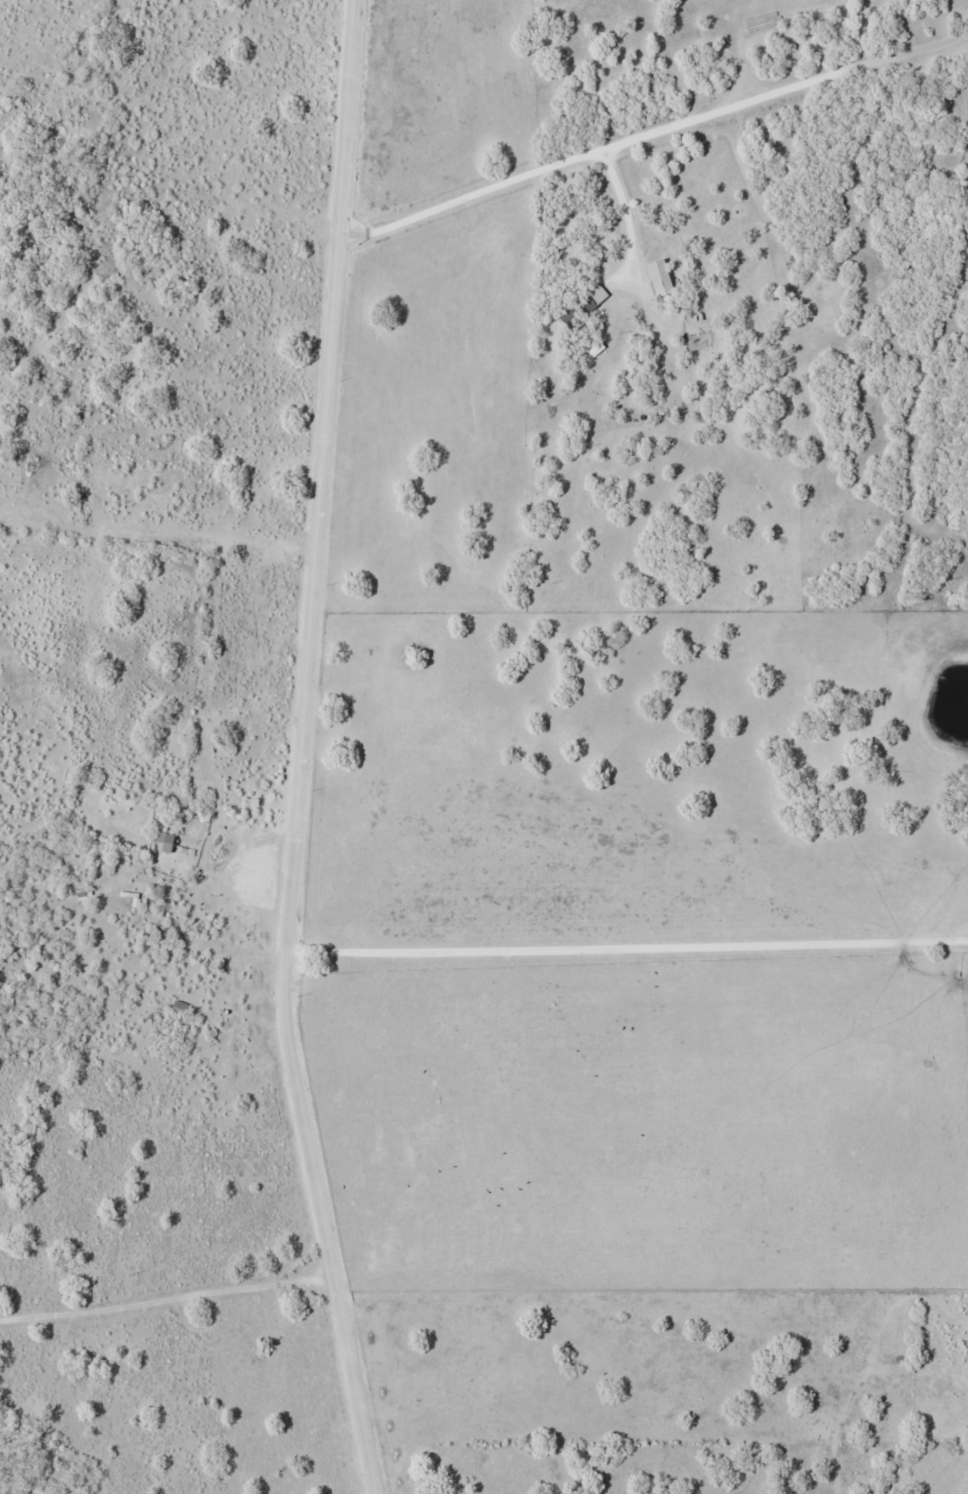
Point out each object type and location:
road: (656, 135)
road: (631, 214)
building: (660, 279)
building: (597, 294)
building: (596, 349)
road: (305, 751)
building: (165, 840)
road: (628, 947)

